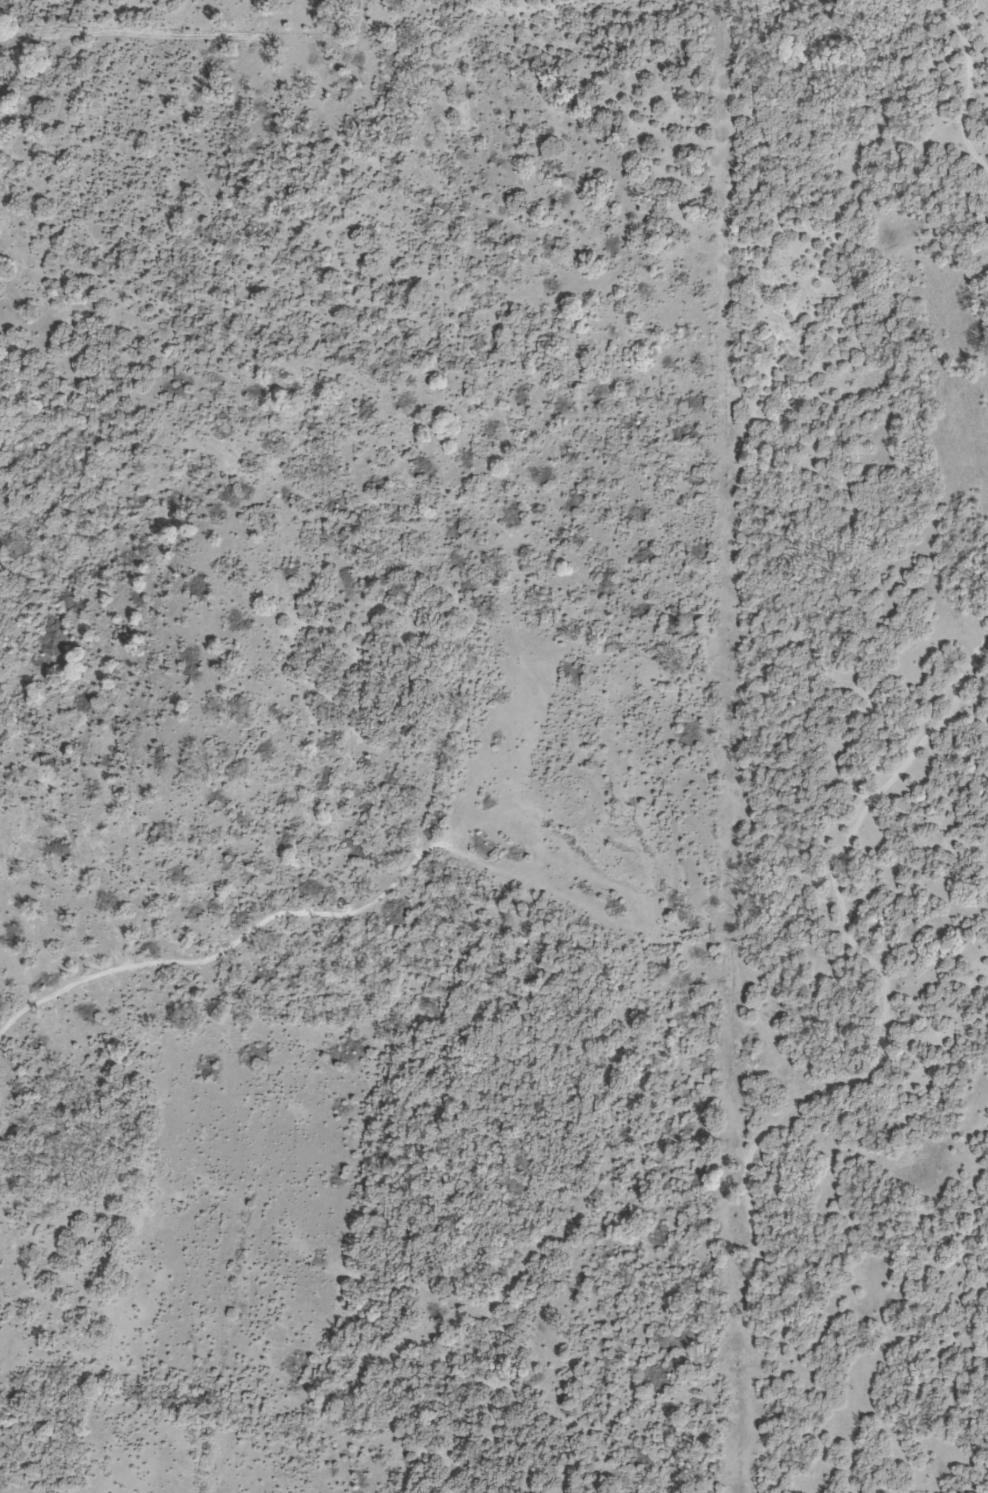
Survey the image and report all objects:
road: (13, 19)

